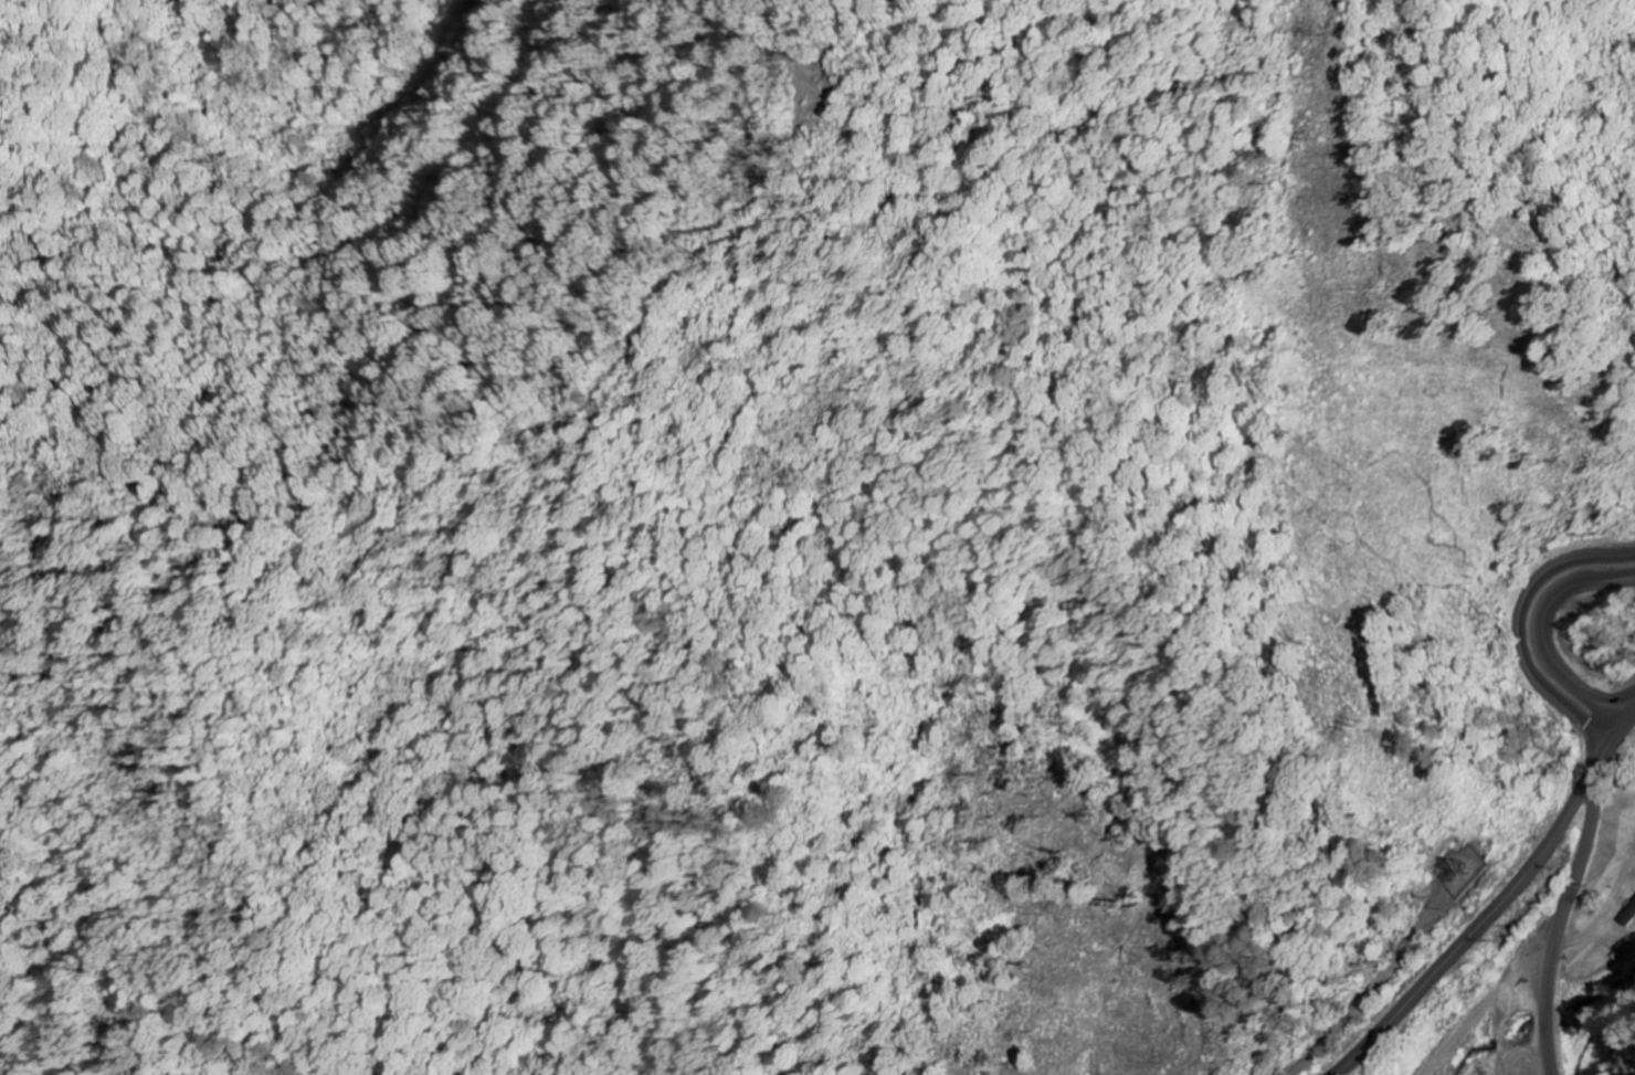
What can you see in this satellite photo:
road: (1516, 626)
road: (1539, 634)
power tower: (1365, 723)
road: (1576, 871)
road: (1497, 905)
road: (1479, 1009)
road: (1547, 1020)
road: (1499, 1024)
road: (1489, 1067)

